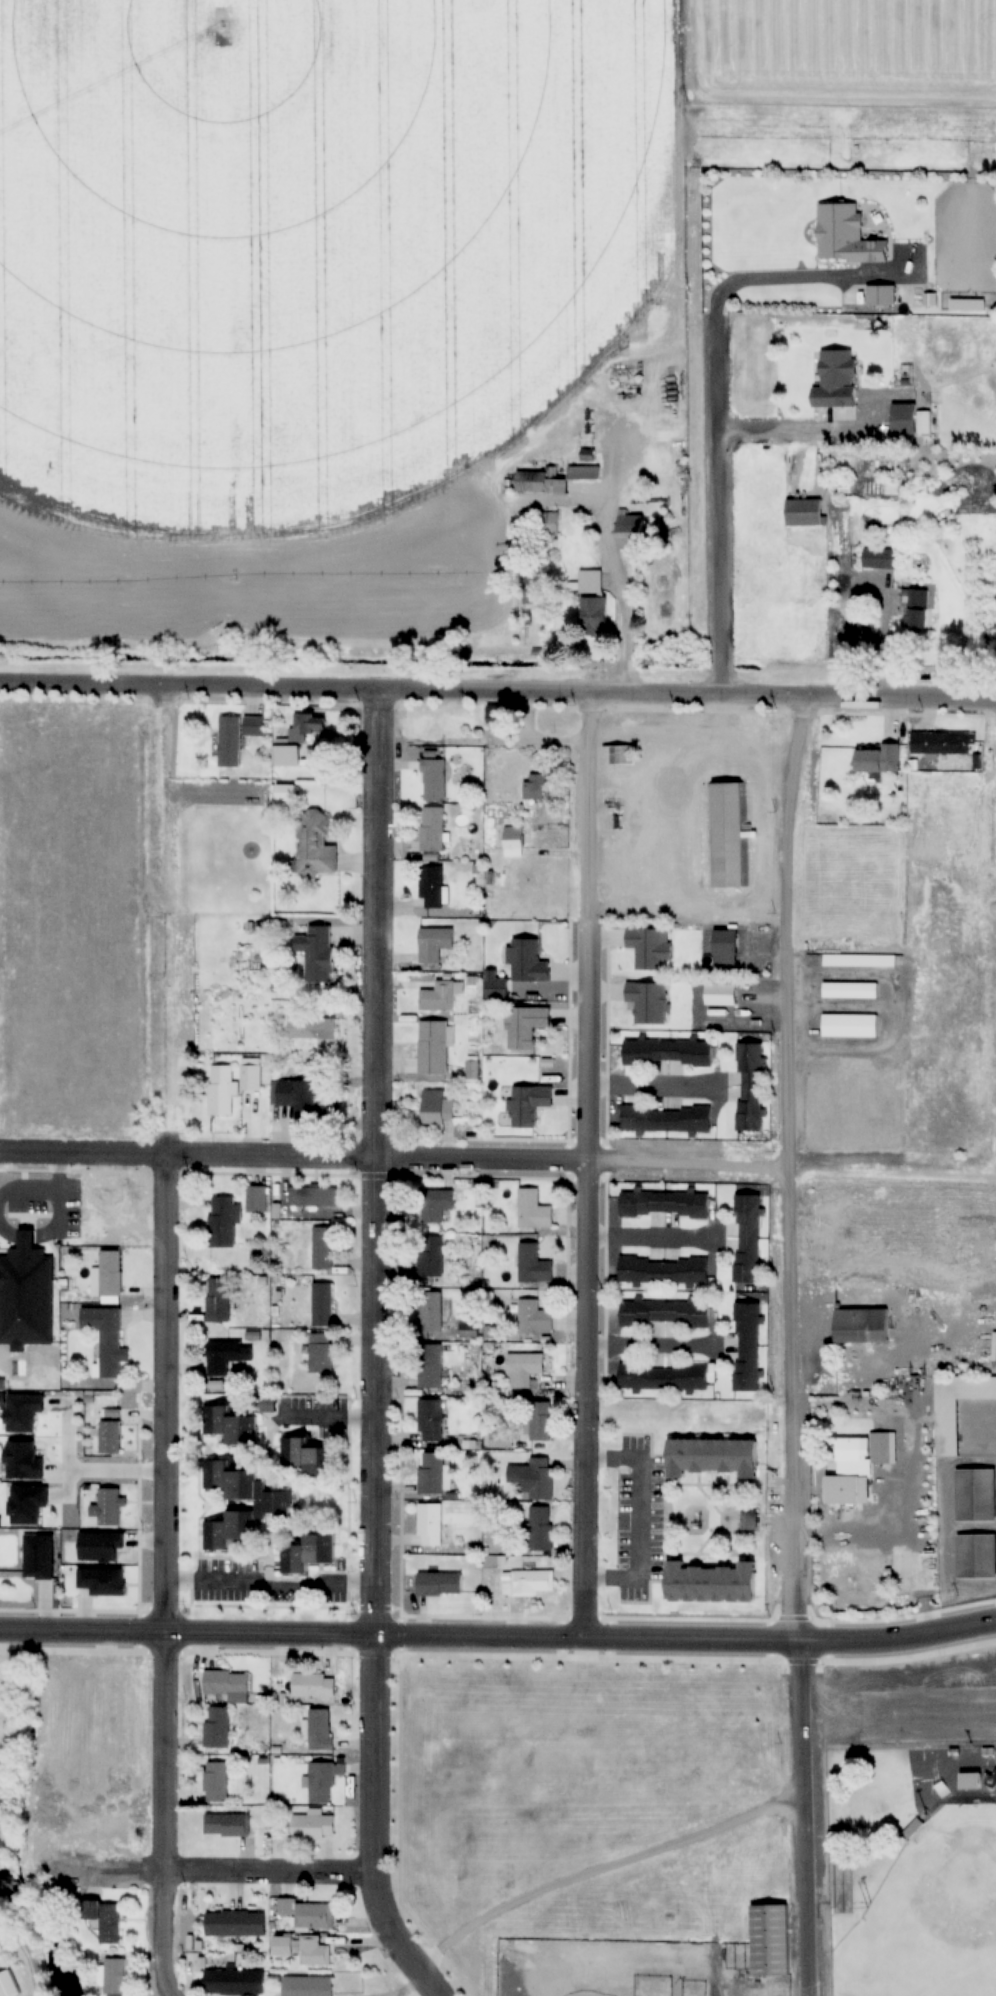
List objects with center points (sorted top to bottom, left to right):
building: (846, 237)
crop: (372, 271)
building: (885, 296)
building: (622, 375)
building: (836, 379)
road: (702, 396)
building: (904, 419)
road: (795, 431)
building: (586, 471)
building: (540, 483)
building: (804, 512)
building: (550, 524)
building: (630, 532)
building: (880, 559)
building: (592, 603)
building: (916, 610)
road: (190, 690)
road: (688, 694)
building: (303, 728)
building: (236, 737)
building: (942, 743)
building: (286, 755)
building: (618, 755)
building: (878, 759)
building: (434, 780)
building: (285, 793)
building: (432, 829)
building: (727, 835)
building: (514, 841)
building: (315, 843)
building: (432, 886)
road: (380, 923)
building: (434, 943)
building: (650, 946)
building: (315, 952)
building: (859, 960)
building: (528, 961)
building: (850, 990)
building: (438, 997)
building: (648, 1001)
building: (525, 1025)
building: (310, 1026)
building: (849, 1026)
building: (433, 1047)
building: (667, 1051)
building: (250, 1077)
building: (750, 1087)
building: (222, 1090)
building: (303, 1099)
building: (528, 1104)
building: (436, 1108)
building: (666, 1119)
road: (294, 1156)
road: (690, 1162)
road: (588, 1166)
road: (792, 1166)
building: (313, 1197)
building: (256, 1200)
building: (435, 1204)
building: (664, 1204)
building: (533, 1210)
building: (223, 1221)
building: (745, 1238)
building: (323, 1248)
building: (432, 1258)
building: (533, 1264)
building: (663, 1271)
road: (377, 1276)
building: (108, 1277)
building: (218, 1300)
building: (322, 1304)
building: (431, 1311)
building: (664, 1313)
building: (533, 1317)
building: (469, 1325)
building: (861, 1326)
building: (106, 1339)
building: (745, 1347)
building: (321, 1353)
building: (222, 1357)
building: (430, 1365)
building: (523, 1368)
building: (663, 1377)
building: (956, 1406)
building: (430, 1420)
building: (541, 1421)
building: (230, 1426)
building: (110, 1437)
building: (880, 1448)
building: (848, 1450)
building: (711, 1457)
building: (306, 1458)
building: (430, 1473)
building: (533, 1477)
building: (843, 1490)
building: (976, 1495)
building: (273, 1504)
building: (108, 1507)
road: (375, 1515)
road: (639, 1519)
building: (749, 1520)
building: (429, 1524)
building: (540, 1529)
building: (308, 1553)
building: (976, 1556)
road: (163, 1576)
building: (532, 1581)
building: (439, 1583)
building: (710, 1583)
road: (499, 1636)
building: (227, 1686)
building: (313, 1686)
parking lot: (913, 1710)
building: (217, 1728)
building: (320, 1730)
building: (970, 1781)
building: (215, 1782)
building: (320, 1783)
building: (994, 1788)
road: (807, 1817)
road: (373, 1824)
building: (227, 1825)
building: (312, 1826)
building: (912, 1829)
road: (604, 1869)
road: (261, 1873)
crop: (635, 1900)
building: (308, 1913)
park: (932, 1913)
building: (103, 1920)
building: (234, 1924)
river: (44, 1929)
building: (770, 1939)
building: (302, 1949)
road: (27, 1953)
building: (114, 1977)
building: (233, 1981)
building: (7, 1984)
building: (290, 1988)

